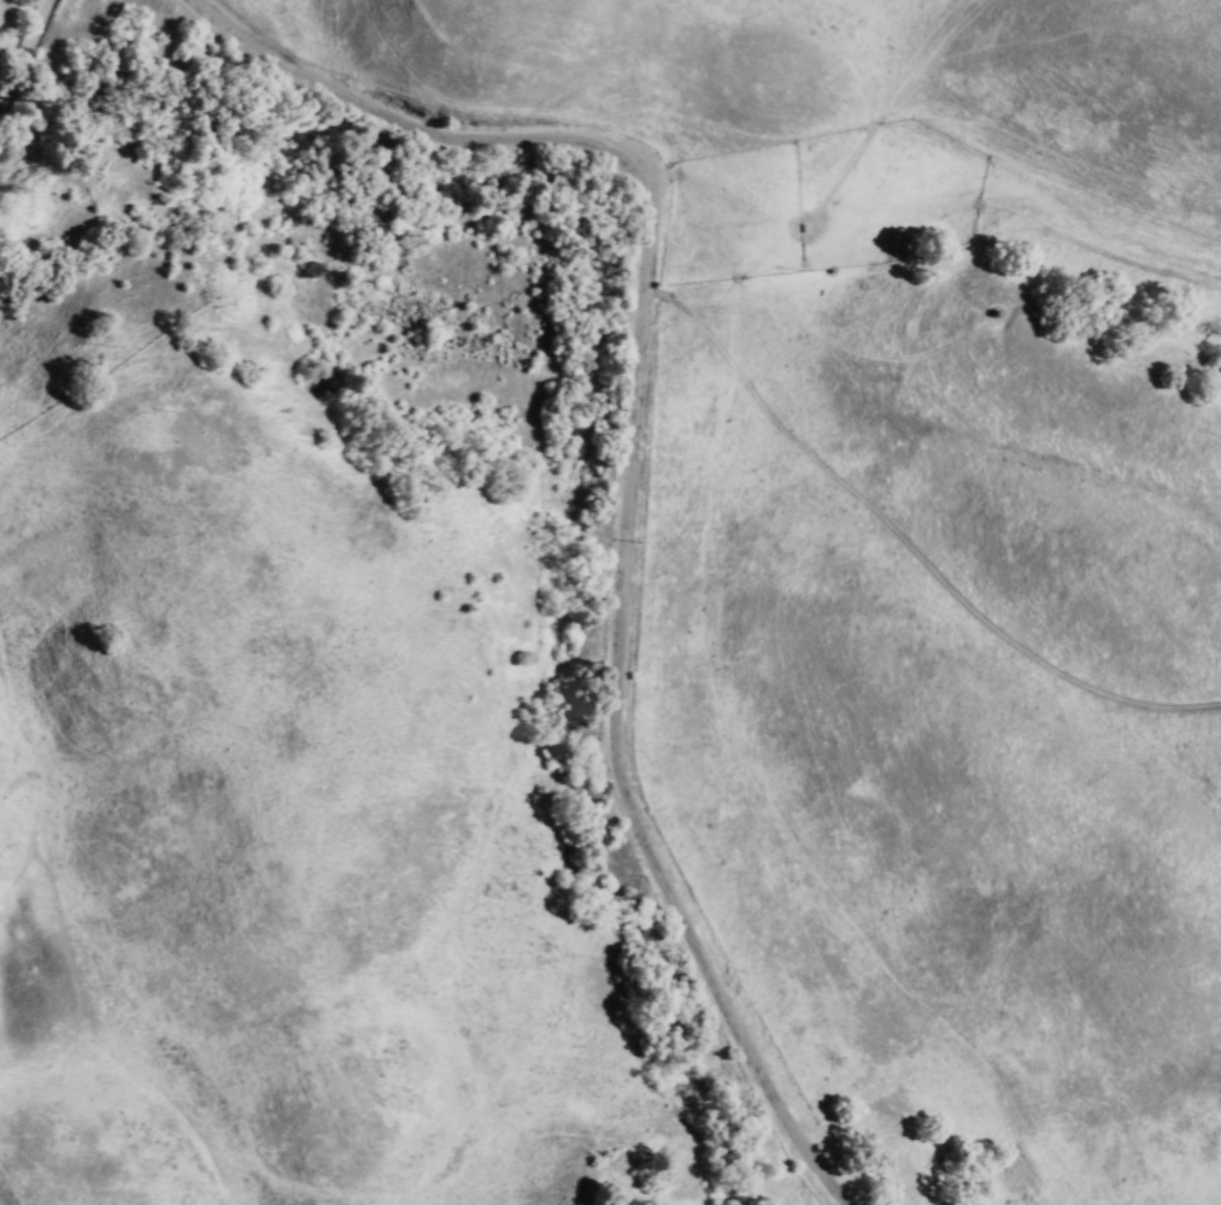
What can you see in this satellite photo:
road: (19, 45)
road: (622, 469)

